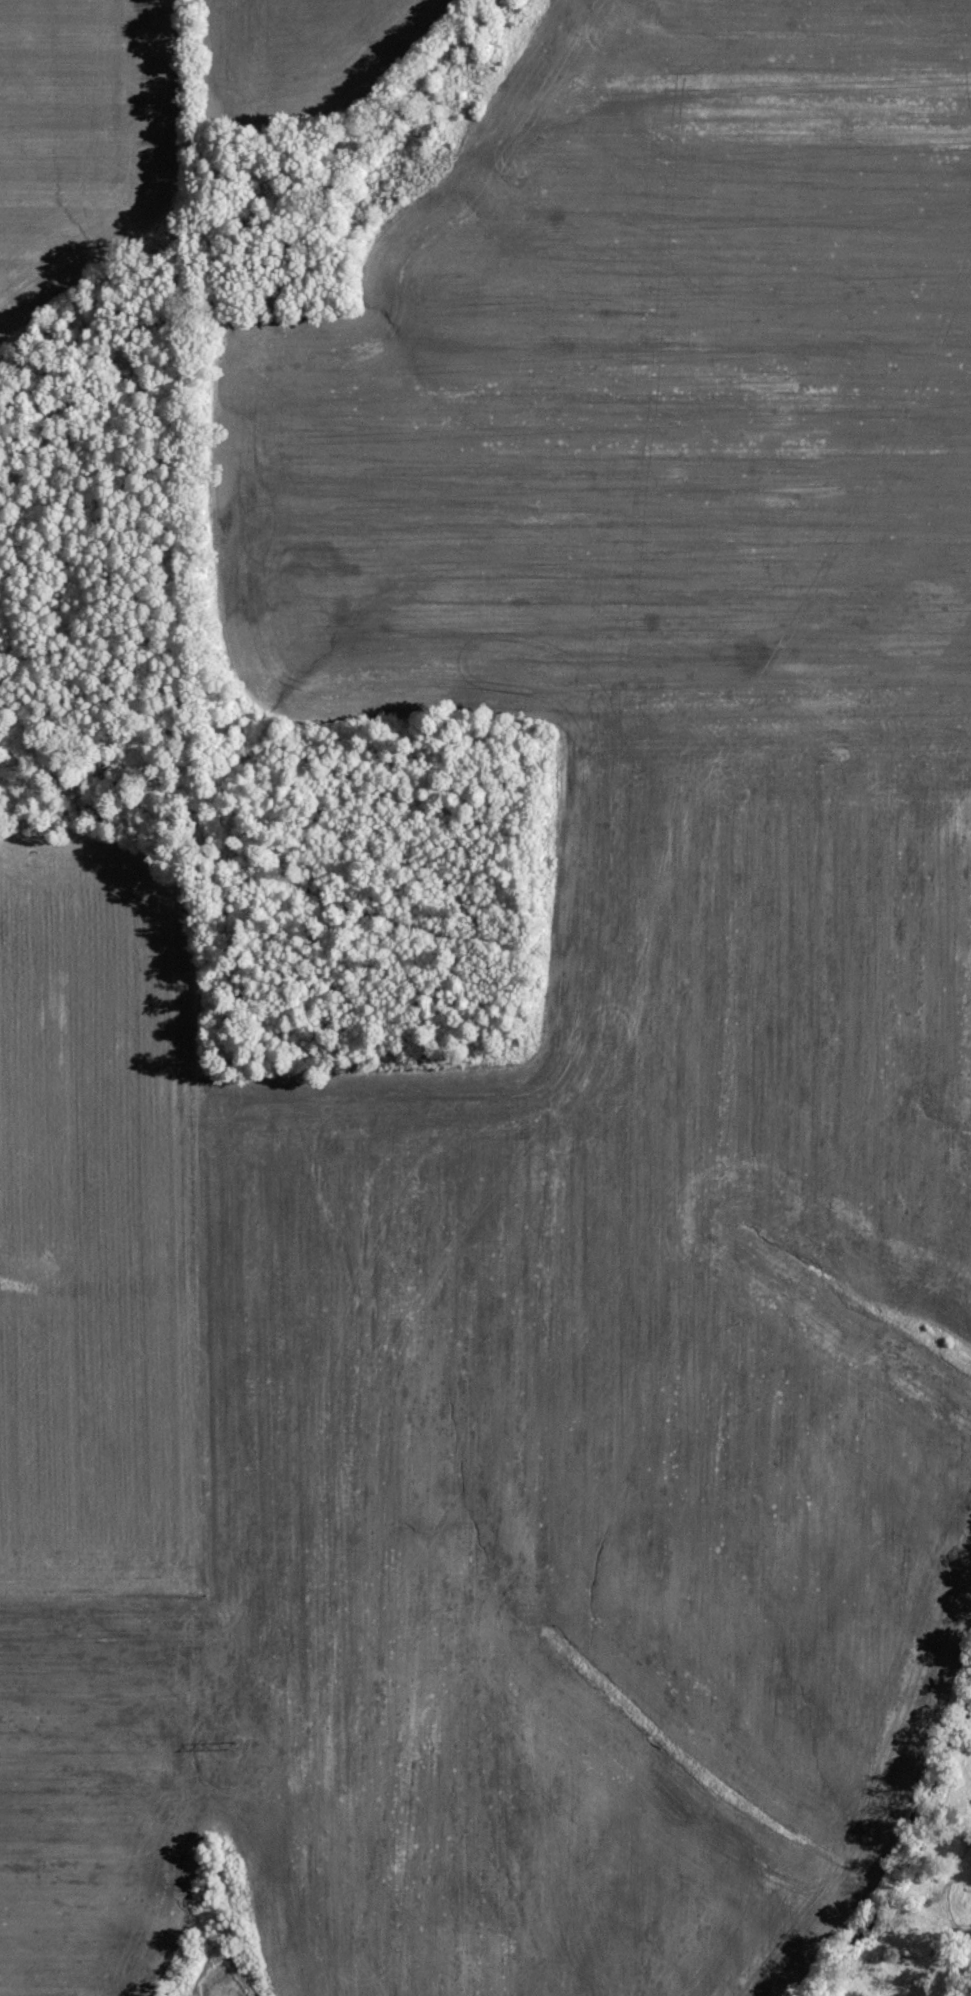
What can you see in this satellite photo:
road: (640, 683)

